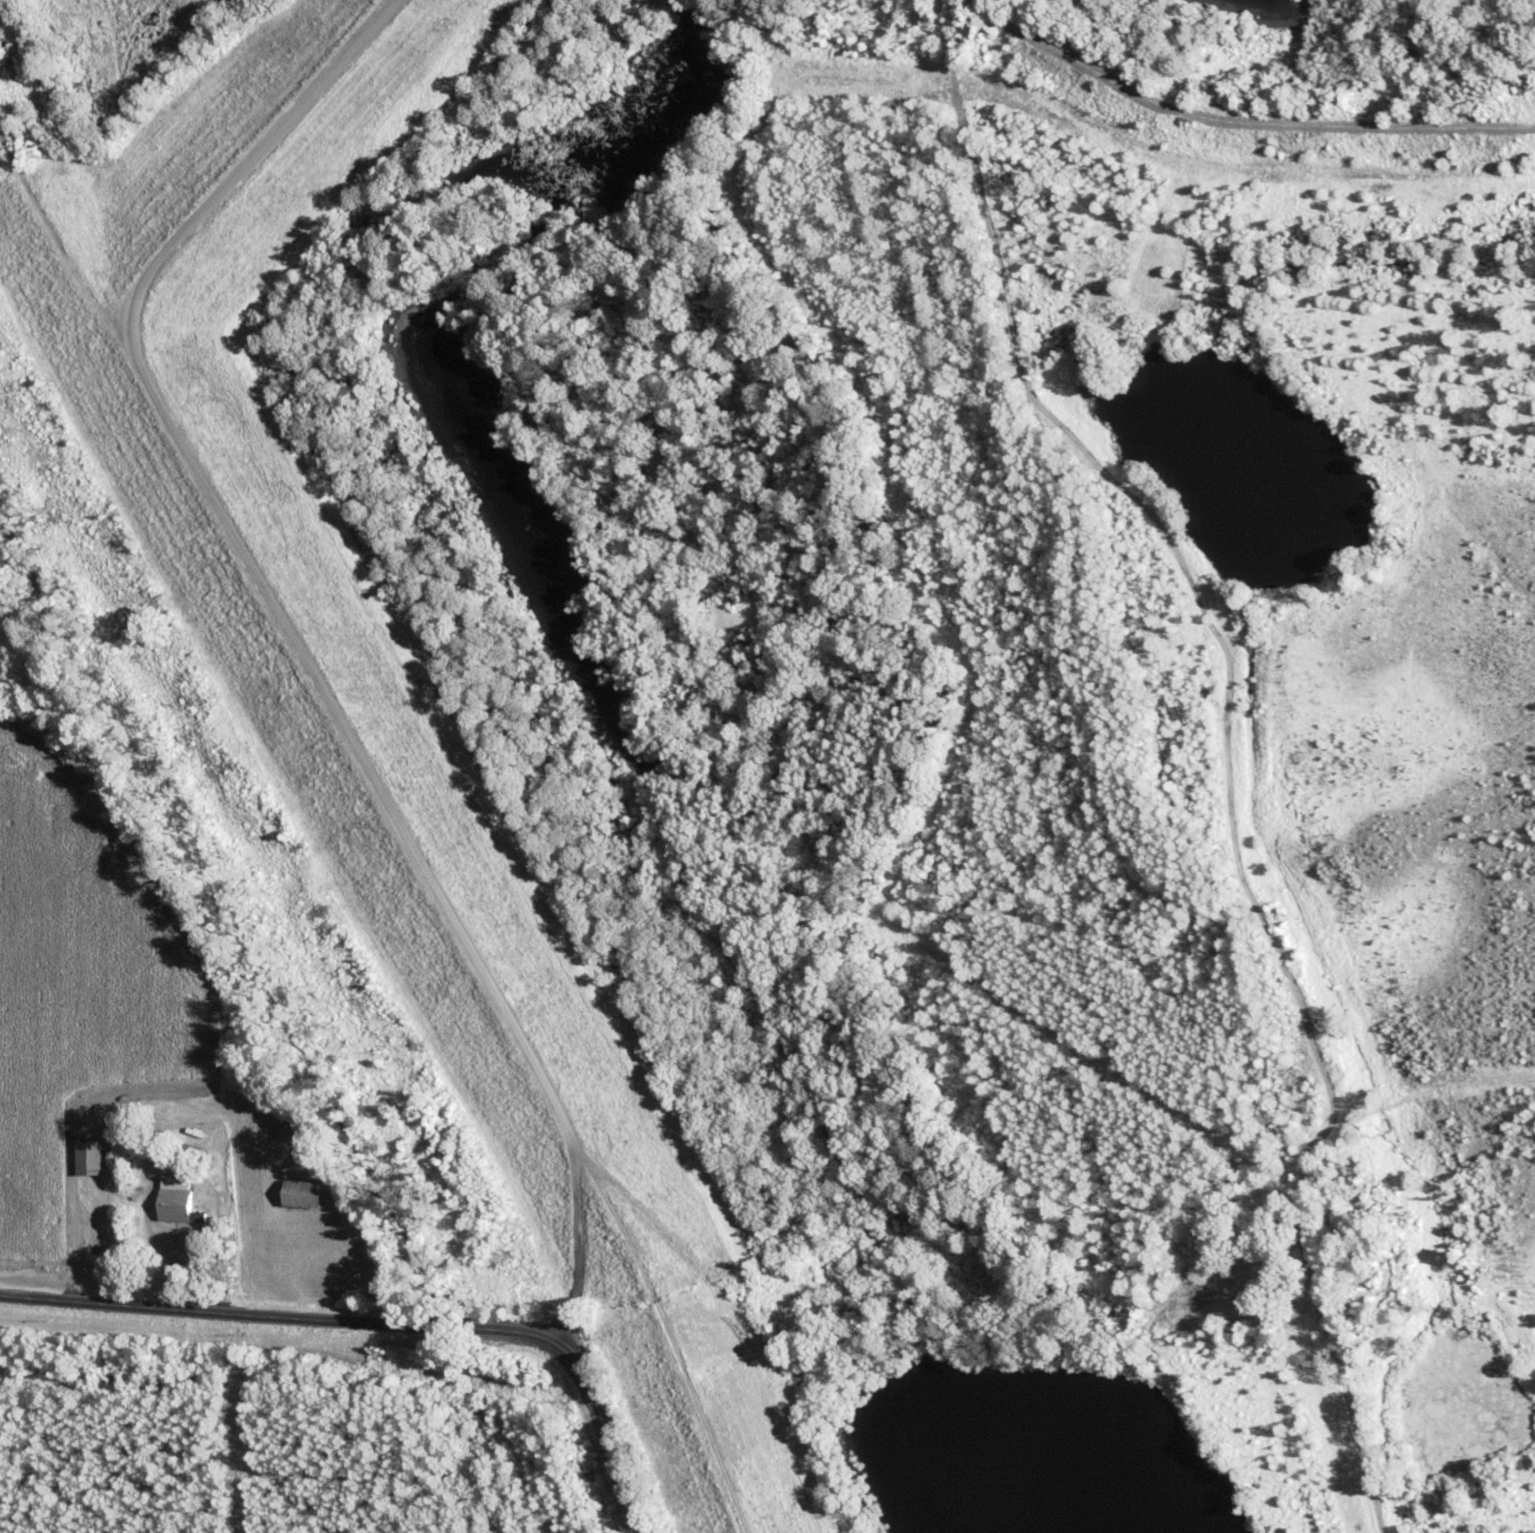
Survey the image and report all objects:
road: (1238, 125)
road: (1232, 1096)
building: (92, 1156)
building: (307, 1196)
building: (179, 1200)
road: (571, 1261)
road: (1095, 1316)
road: (378, 1327)
road: (903, 1330)
road: (674, 1355)
road: (1337, 1376)

